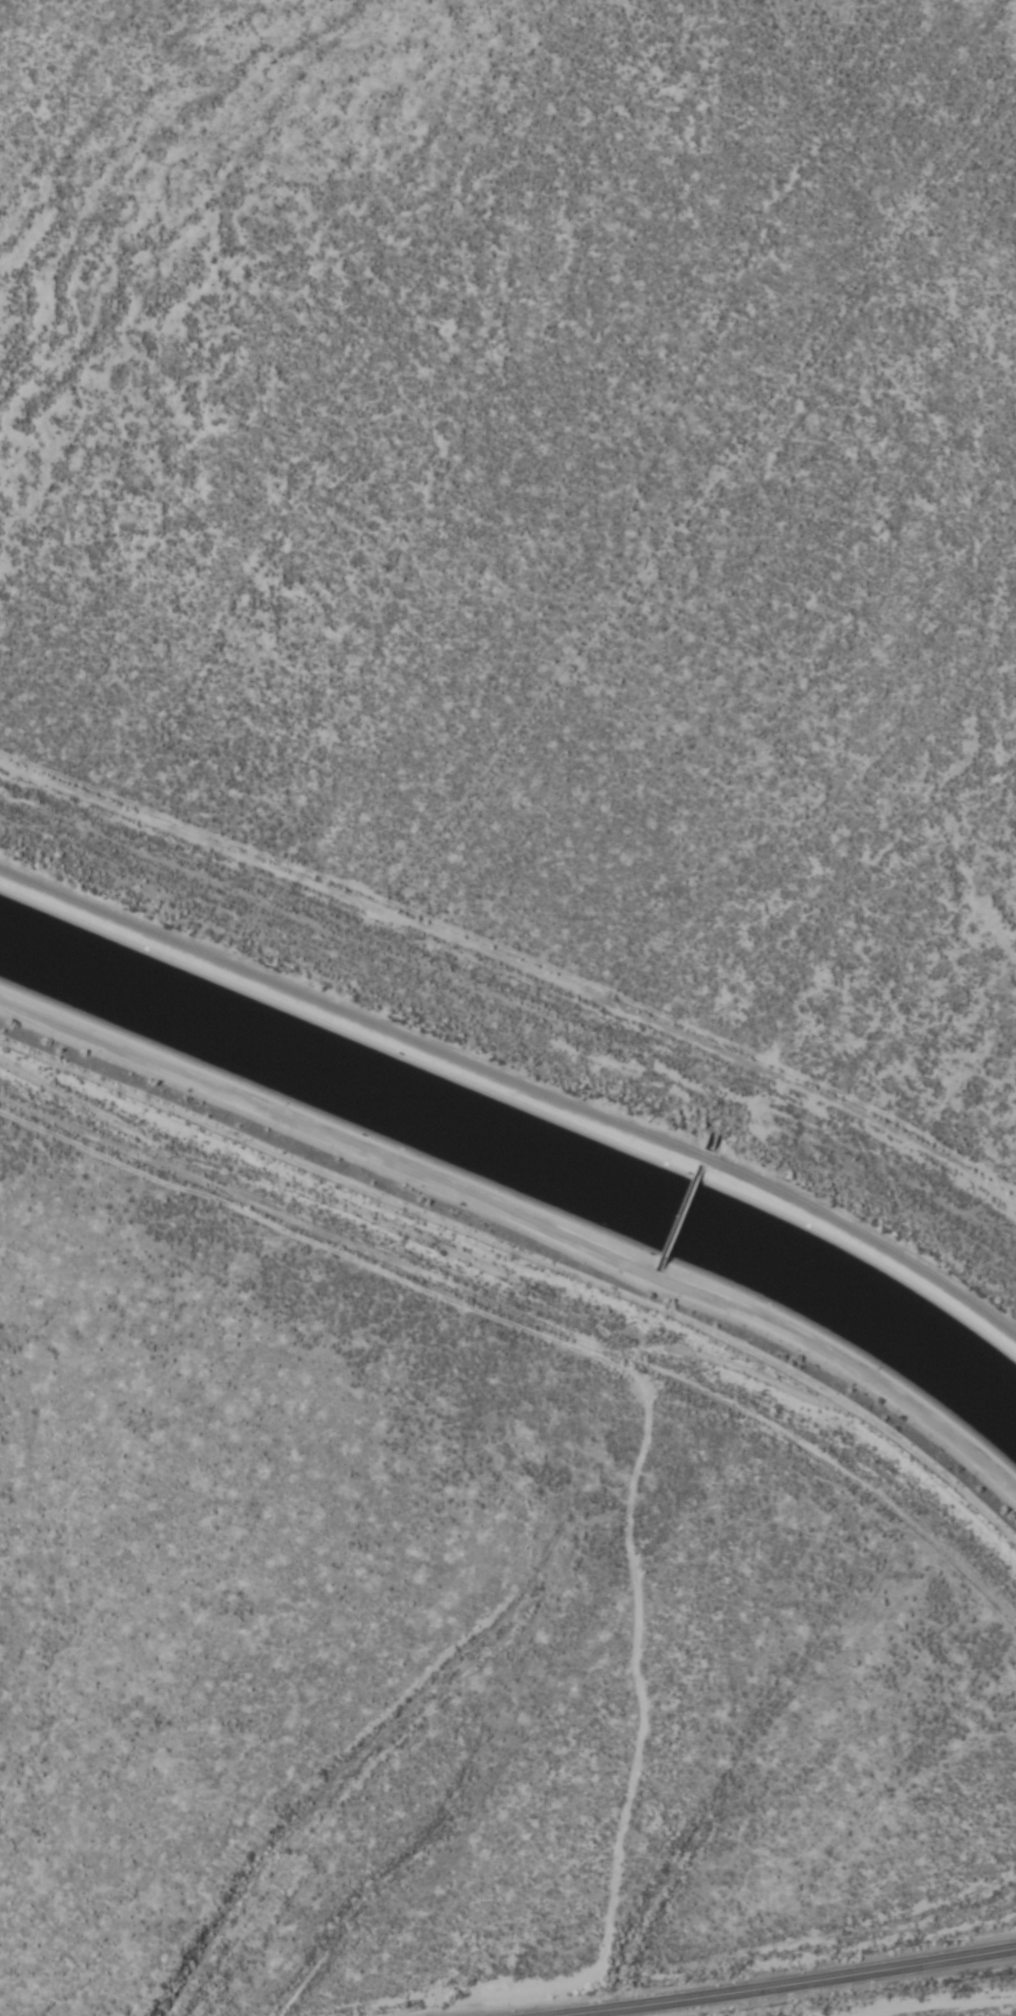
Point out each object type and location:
crop: (547, 496)
road: (518, 1058)
road: (525, 1258)
road: (788, 1983)

